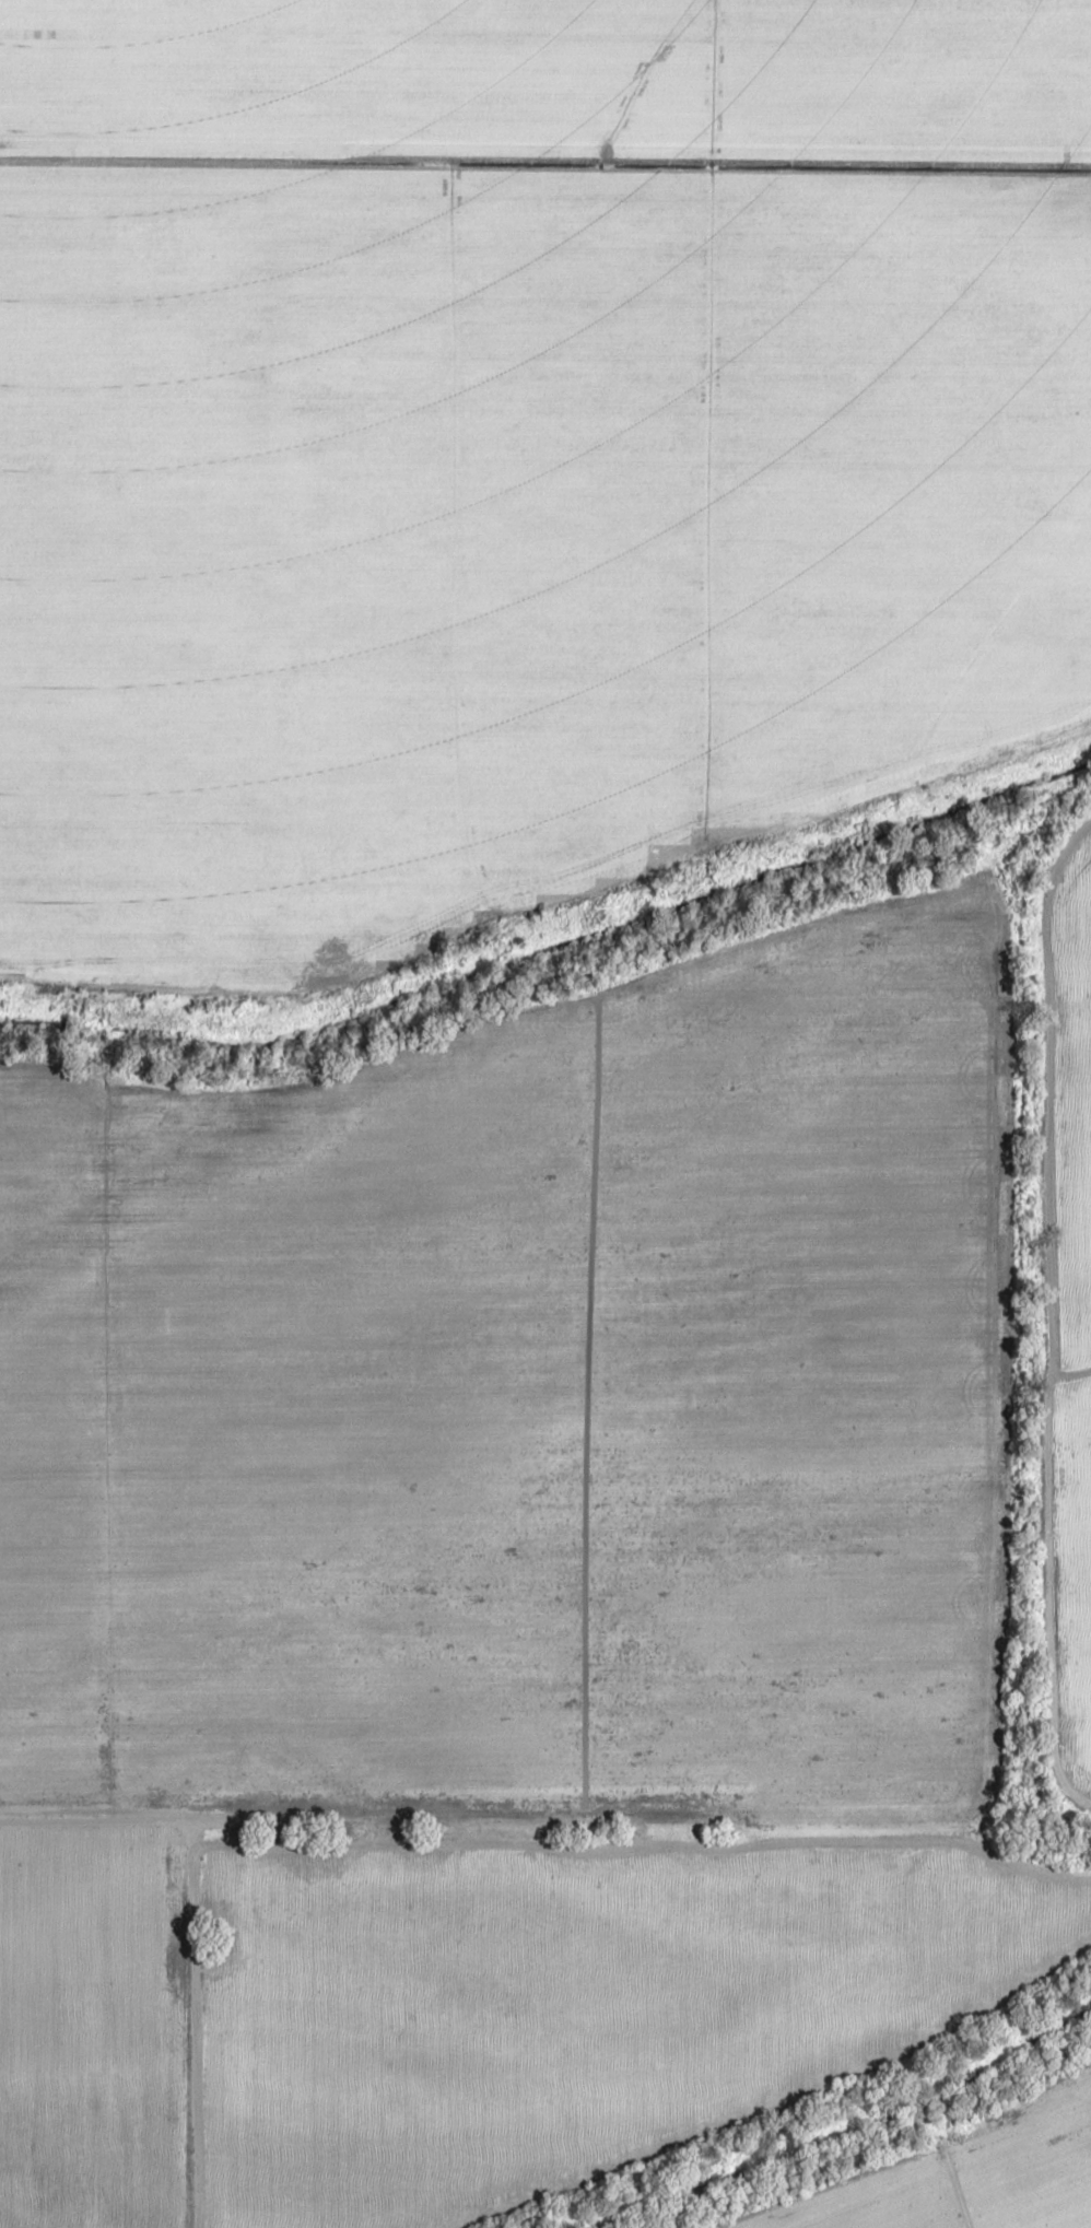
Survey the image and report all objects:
road: (189, 1934)

